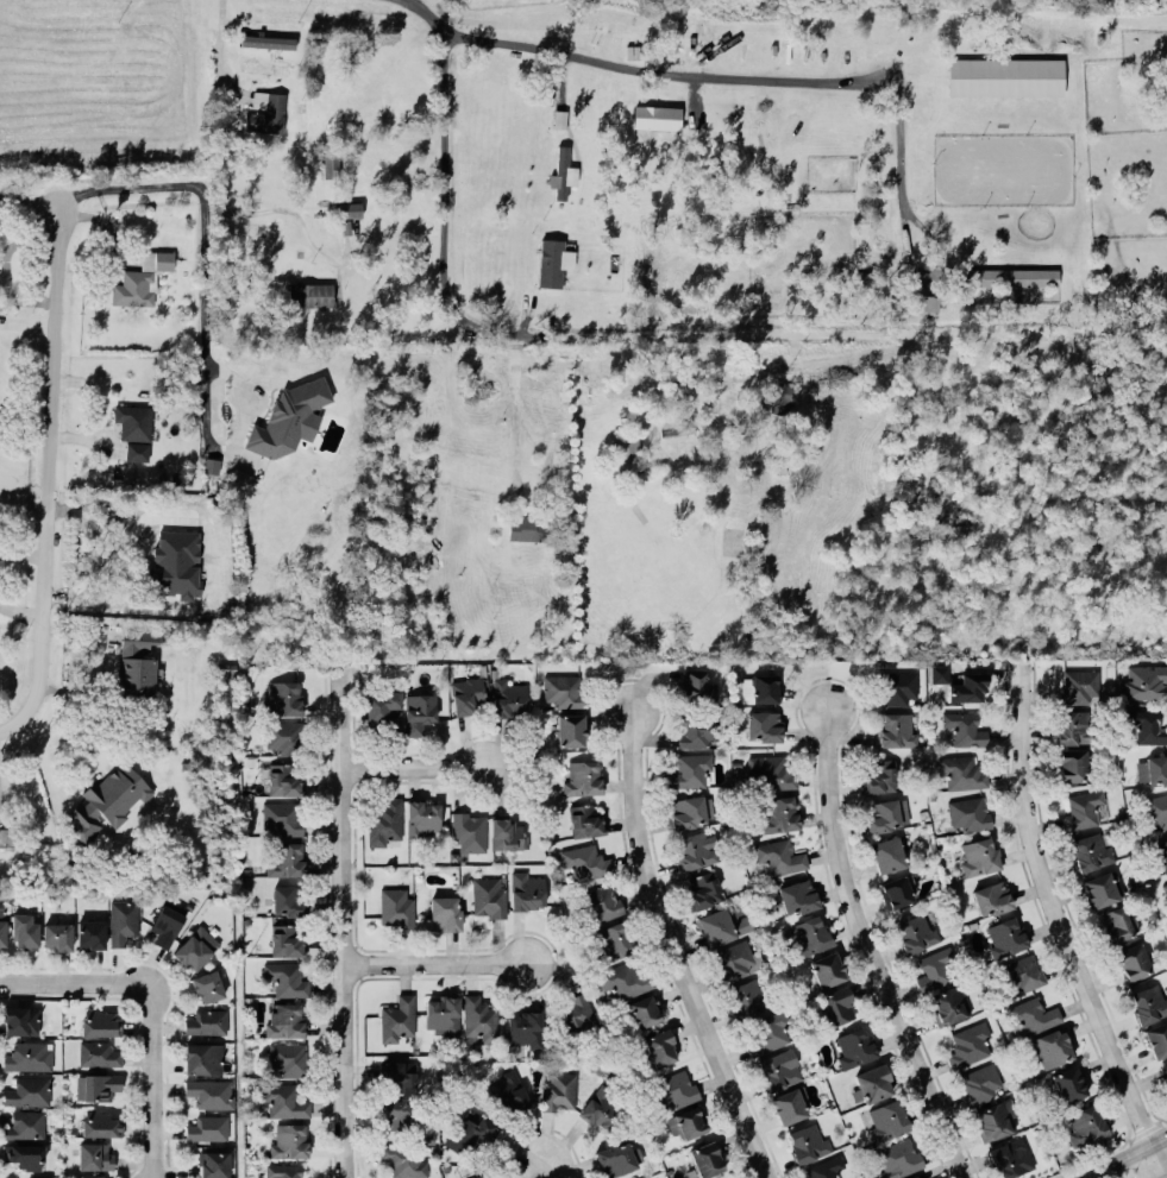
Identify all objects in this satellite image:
building: (268, 42)
building: (264, 67)
building: (1004, 76)
road: (745, 78)
building: (265, 111)
building: (657, 116)
building: (559, 118)
building: (330, 163)
building: (563, 170)
road: (225, 189)
road: (441, 195)
road: (32, 197)
building: (349, 208)
road: (203, 235)
building: (553, 260)
building: (1005, 276)
building: (140, 278)
building: (310, 294)
building: (924, 302)
building: (778, 396)
road: (516, 408)
building: (289, 417)
building: (133, 429)
building: (627, 455)
road: (56, 474)
building: (526, 527)
building: (195, 554)
building: (205, 588)
building: (138, 660)
building: (228, 673)
building: (1143, 681)
building: (695, 682)
building: (959, 682)
building: (896, 686)
building: (1078, 686)
building: (760, 687)
building: (561, 691)
building: (468, 693)
building: (282, 697)
building: (509, 697)
building: (383, 710)
building: (419, 712)
building: (763, 725)
building: (965, 726)
building: (1073, 726)
building: (1148, 726)
building: (571, 729)
building: (895, 729)
building: (696, 732)
building: (284, 737)
road: (419, 764)
building: (1071, 764)
building: (690, 769)
building: (1153, 769)
building: (770, 771)
building: (960, 771)
building: (879, 775)
building: (582, 776)
building: (283, 779)
building: (107, 800)
building: (1081, 808)
building: (1156, 810)
building: (690, 811)
building: (778, 813)
building: (968, 813)
building: (885, 814)
building: (282, 817)
building: (422, 817)
building: (585, 819)
building: (385, 821)
building: (469, 831)
building: (506, 832)
building: (6, 837)
building: (695, 848)
building: (1090, 850)
building: (1162, 852)
building: (885, 853)
building: (978, 855)
building: (778, 856)
building: (287, 858)
building: (585, 861)
building: (1166, 882)
building: (1099, 888)
building: (527, 889)
building: (702, 890)
building: (895, 890)
building: (797, 895)
building: (489, 896)
building: (991, 897)
building: (288, 900)
building: (600, 902)
building: (395, 906)
building: (444, 912)
building: (123, 920)
road: (351, 922)
building: (1117, 922)
building: (165, 924)
building: (722, 925)
building: (2, 926)
road: (1059, 928)
building: (24, 930)
building: (916, 931)
building: (809, 933)
building: (89, 934)
building: (57, 936)
building: (1004, 936)
building: (286, 940)
building: (611, 940)
building: (195, 947)
road: (867, 947)
road: (673, 951)
building: (733, 959)
building: (1133, 959)
road: (440, 960)
building: (827, 968)
building: (934, 969)
building: (1024, 972)
building: (287, 978)
building: (623, 978)
building: (206, 985)
building: (749, 996)
building: (948, 1003)
building: (1147, 1003)
building: (839, 1004)
road: (151, 1008)
building: (573, 1010)
building: (644, 1010)
building: (441, 1014)
building: (1031, 1015)
building: (478, 1018)
building: (19, 1019)
building: (284, 1019)
building: (397, 1019)
building: (100, 1021)
building: (206, 1021)
building: (525, 1028)
building: (767, 1031)
building: (1156, 1038)
building: (968, 1044)
building: (853, 1045)
building: (660, 1046)
building: (1052, 1046)
building: (98, 1053)
building: (29, 1056)
building: (202, 1057)
building: (288, 1058)
building: (1166, 1065)
building: (778, 1069)
building: (399, 1075)
building: (1165, 1077)
building: (873, 1082)
building: (979, 1083)
building: (1068, 1083)
building: (99, 1085)
building: (675, 1088)
building: (27, 1090)
building: (211, 1091)
building: (507, 1091)
building: (558, 1091)
building: (283, 1100)
building: (790, 1103)
building: (598, 1109)
building: (400, 1114)
building: (886, 1119)
building: (996, 1119)
building: (99, 1123)
building: (686, 1123)
building: (25, 1125)
building: (1086, 1125)
building: (207, 1127)
building: (470, 1130)
building: (288, 1139)
building: (808, 1141)
building: (25, 1154)
building: (94, 1154)
road: (1122, 1155)
building: (617, 1157)
building: (896, 1157)
building: (1009, 1157)
building: (404, 1158)
building: (705, 1158)
building: (212, 1164)
road: (552, 1166)
building: (824, 1167)
building: (283, 1170)
building: (92, 1176)
building: (478, 1176)
building: (646, 1177)
building: (914, 1177)

